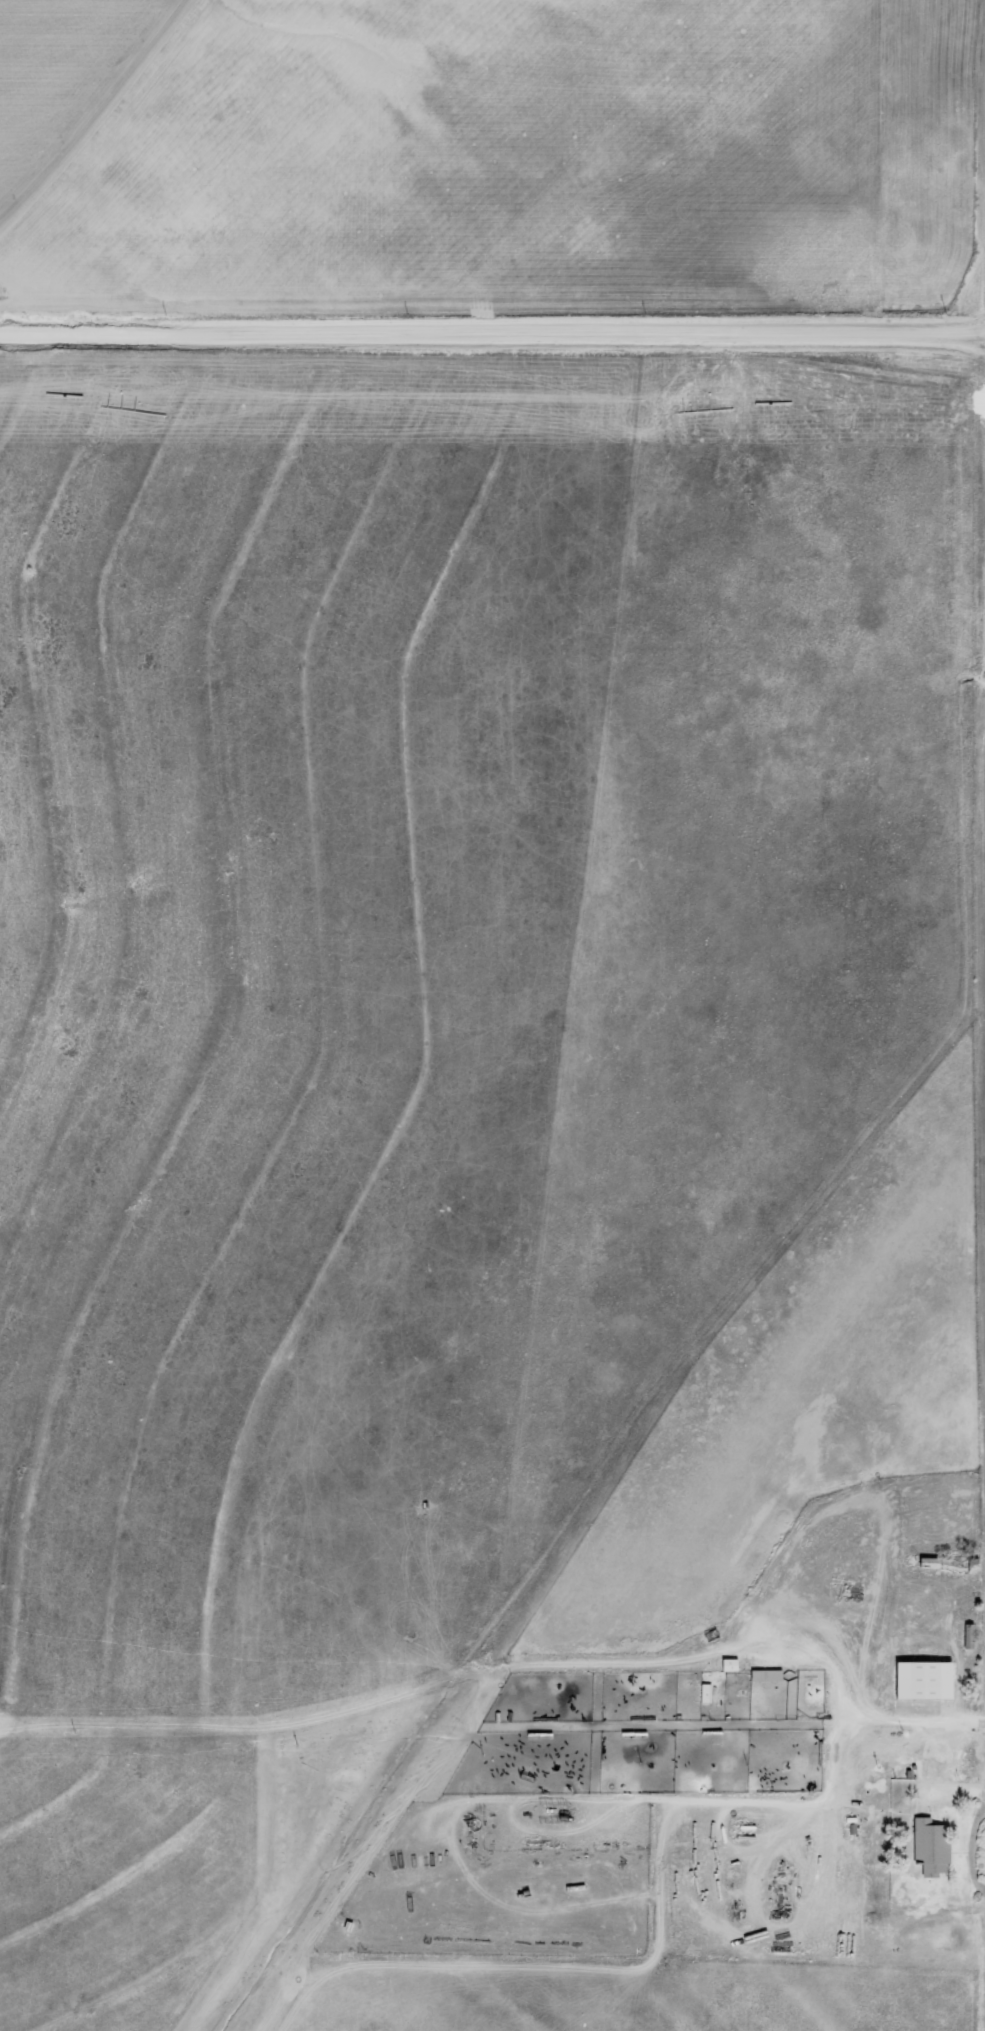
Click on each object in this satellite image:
road: (492, 343)
road: (771, 1645)
building: (928, 1681)
road: (692, 1801)

